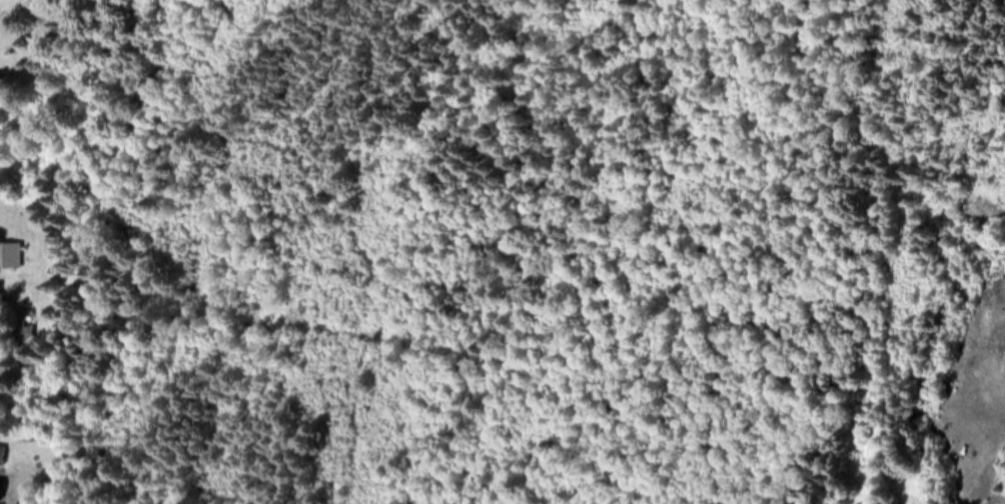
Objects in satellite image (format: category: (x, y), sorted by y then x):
building: (8, 256)
building: (31, 326)
building: (3, 457)

